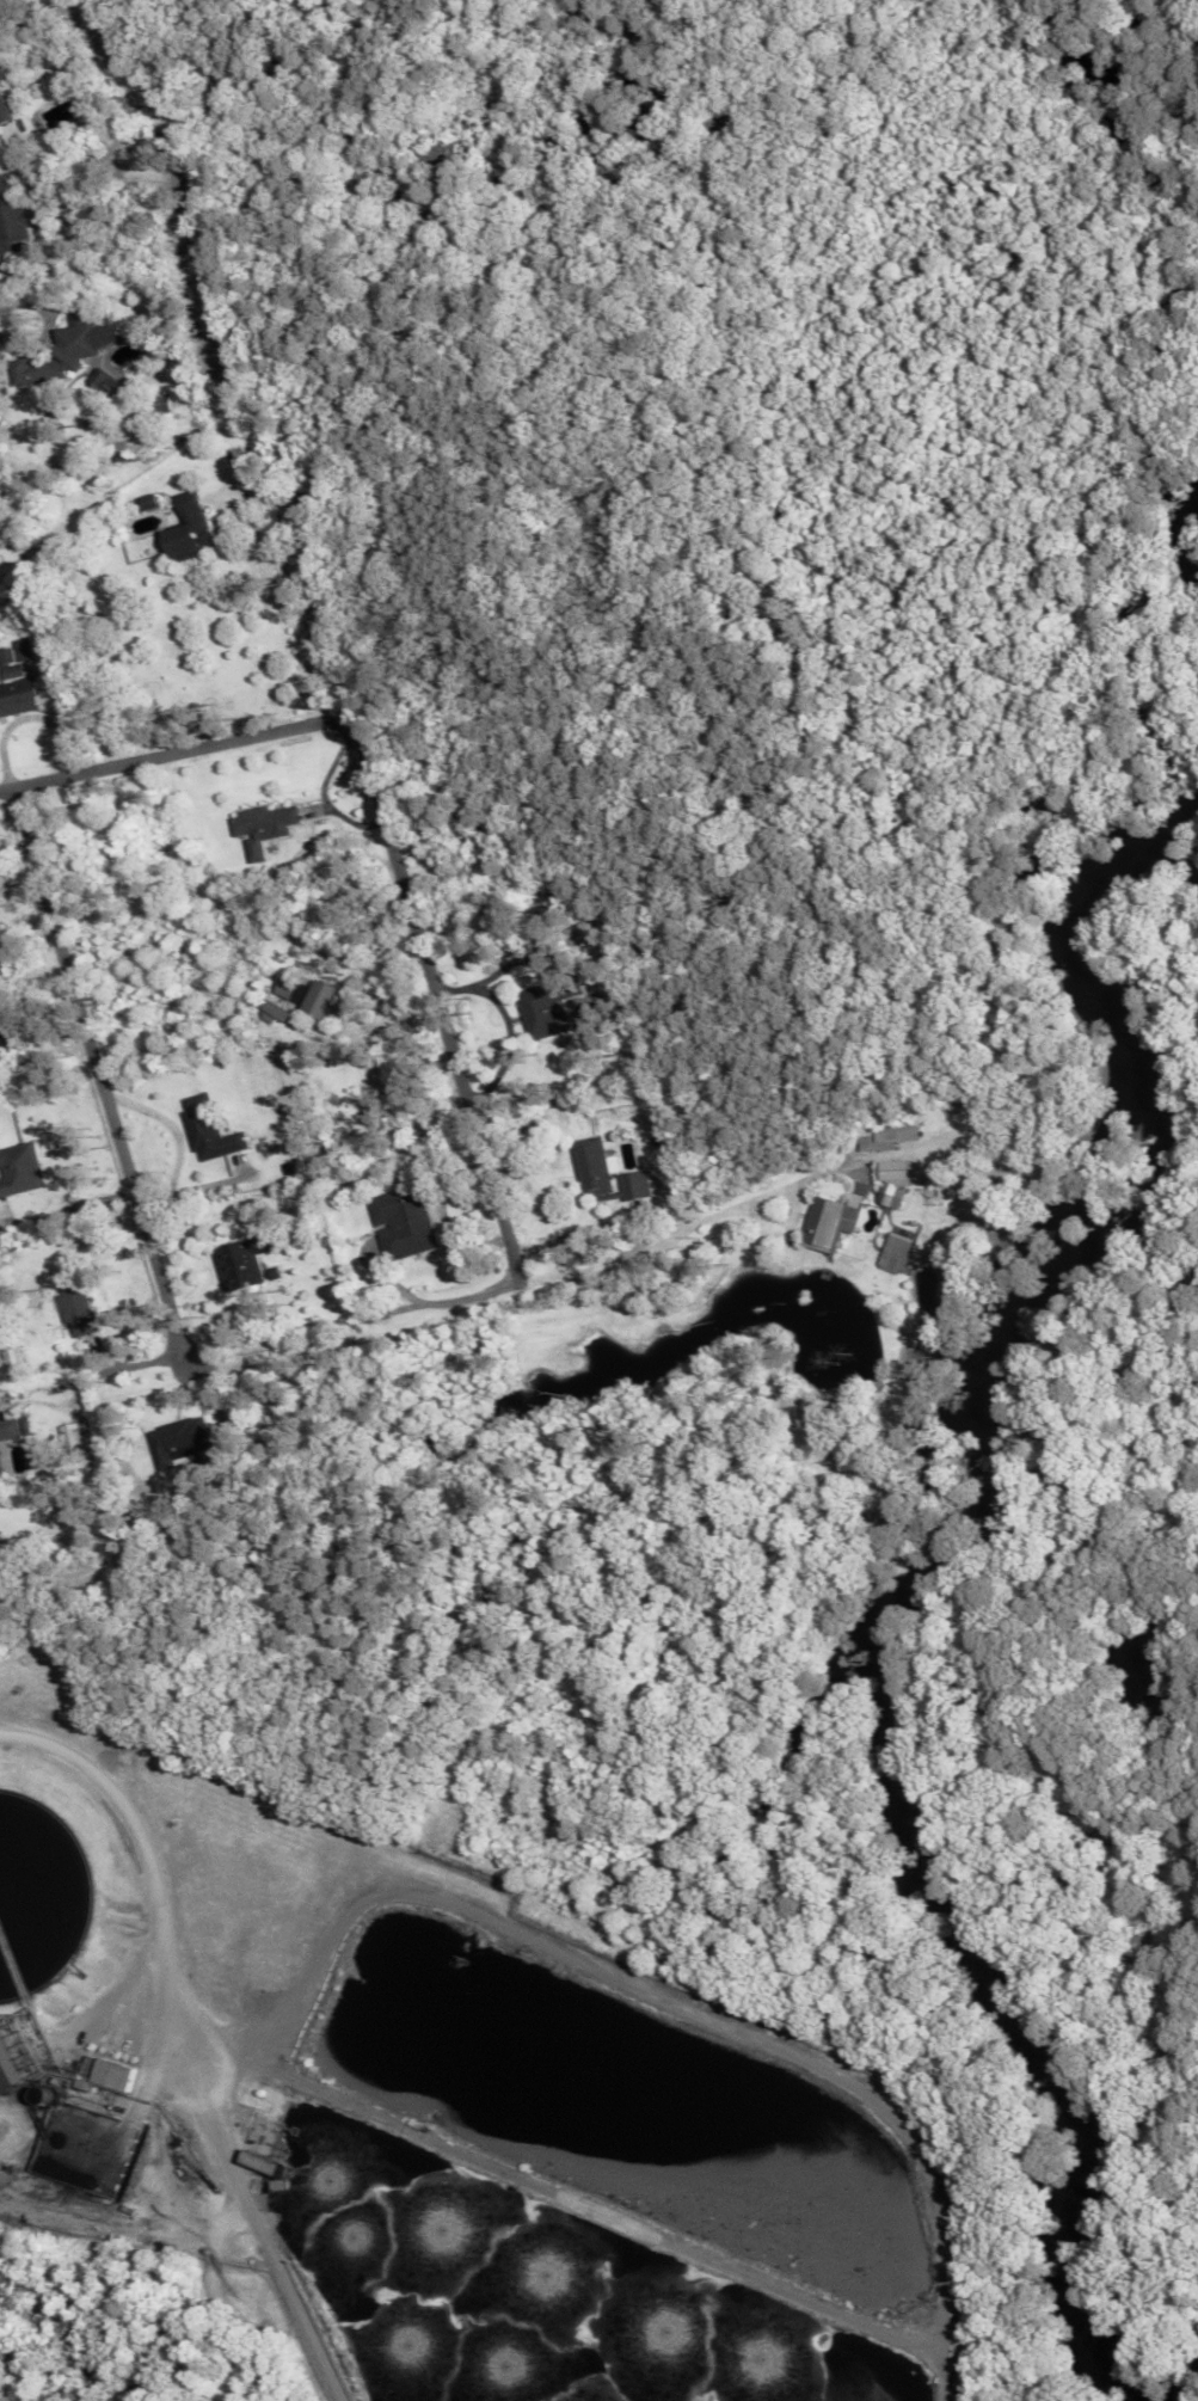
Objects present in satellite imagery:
road: (164, 751)
road: (446, 1011)
road: (96, 1049)
river: (922, 1567)
road: (203, 1809)
road: (676, 2001)
road: (543, 2173)
road: (213, 2227)

